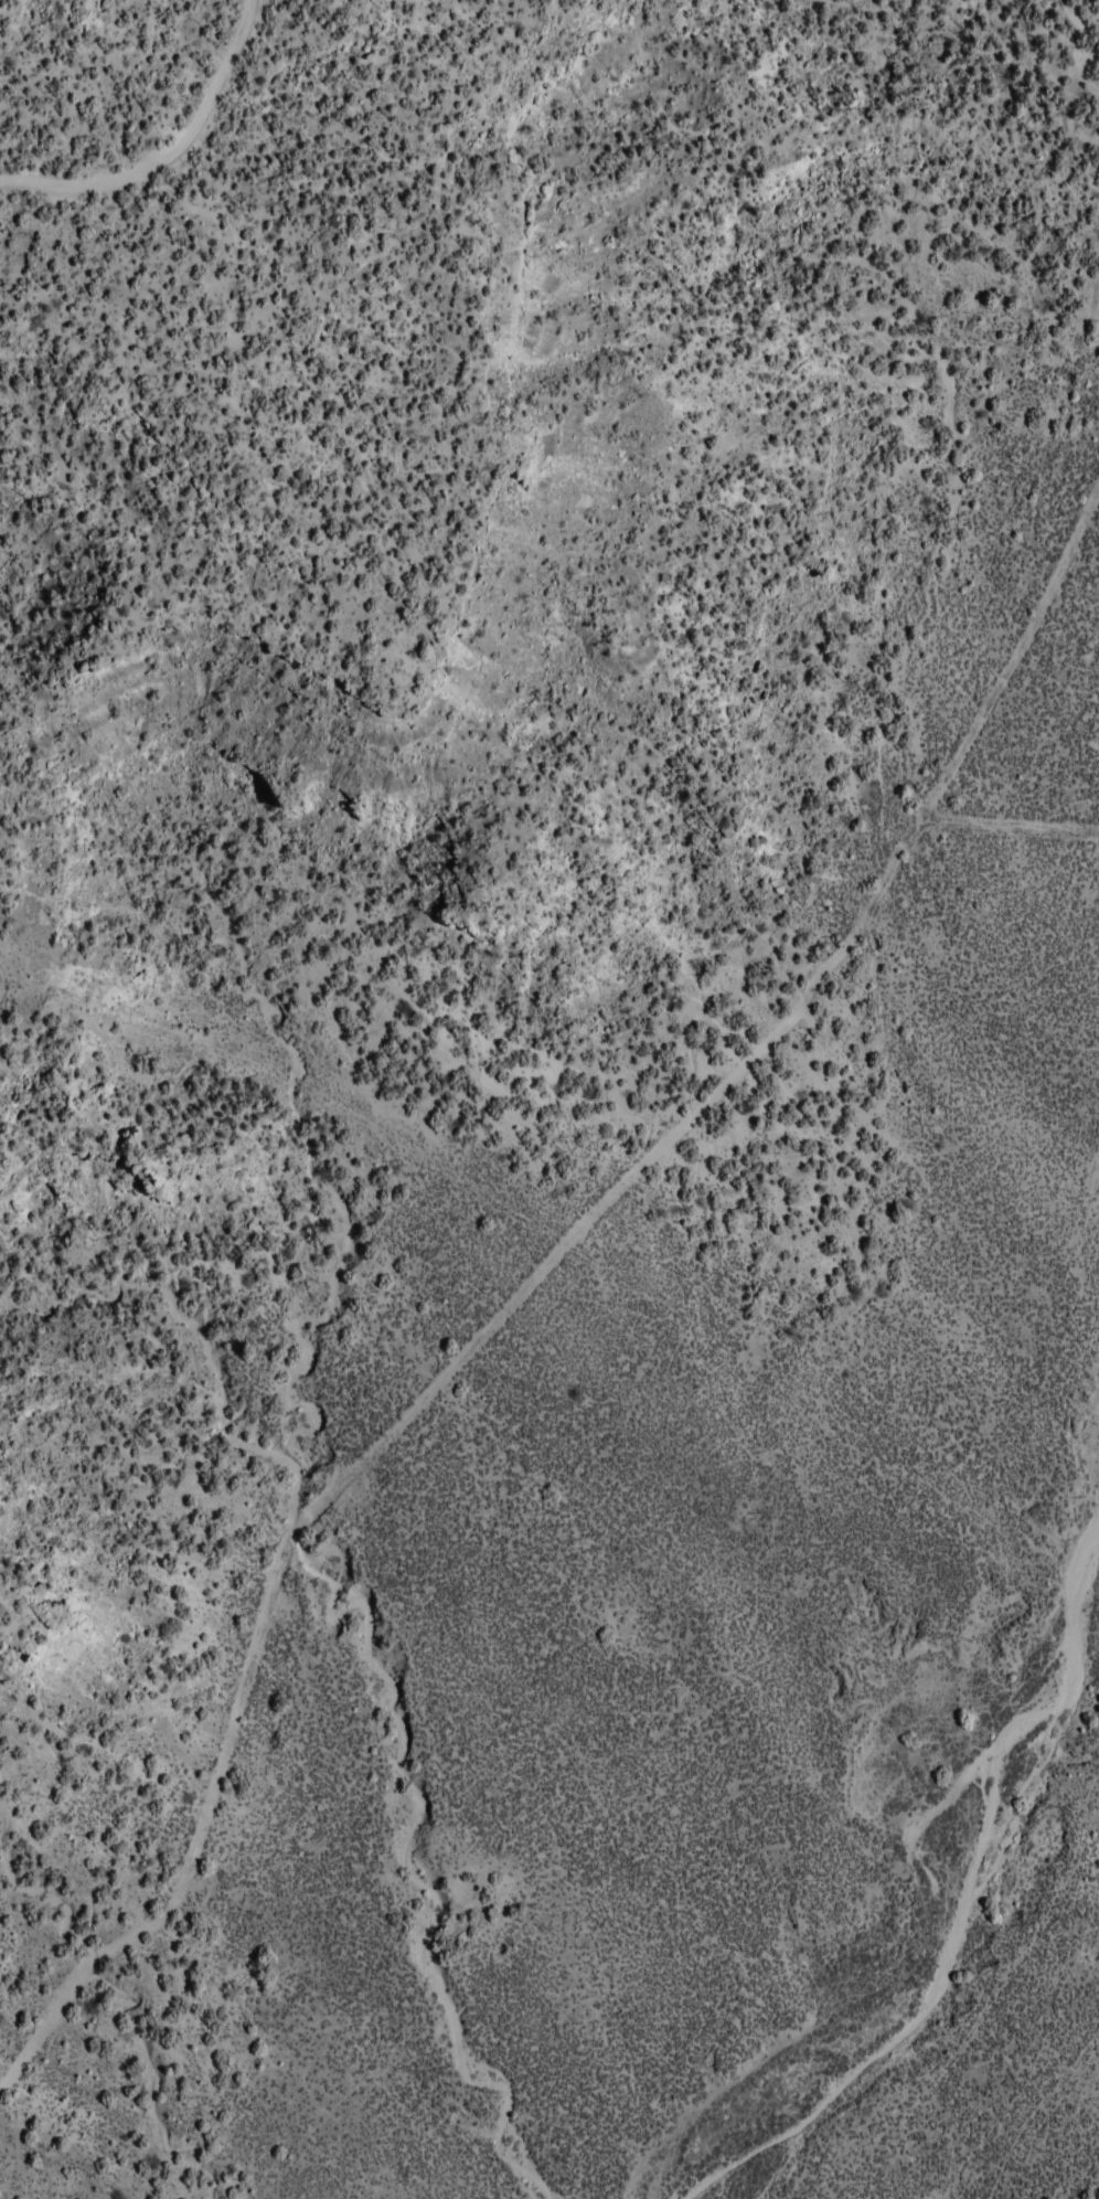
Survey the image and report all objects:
road: (159, 152)
road: (572, 1223)

